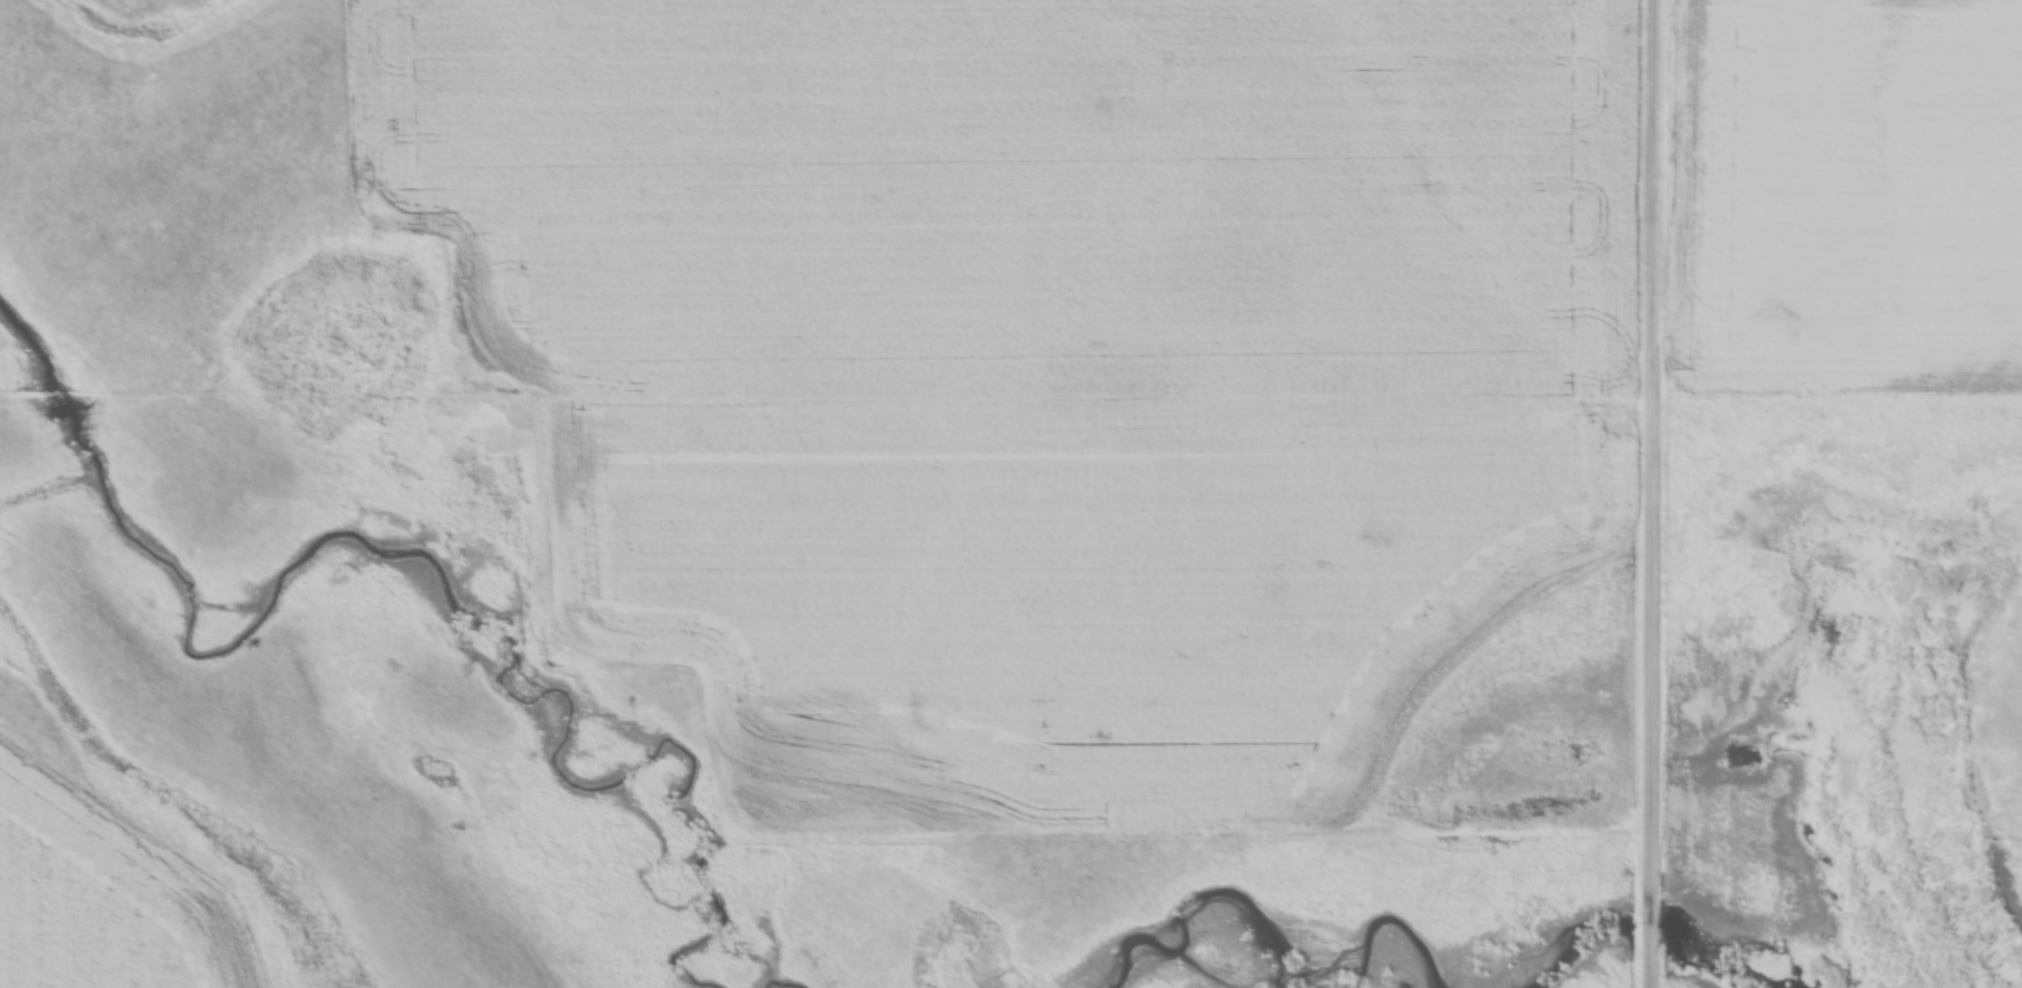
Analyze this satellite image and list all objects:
crop: (1843, 199)
road: (1649, 493)

